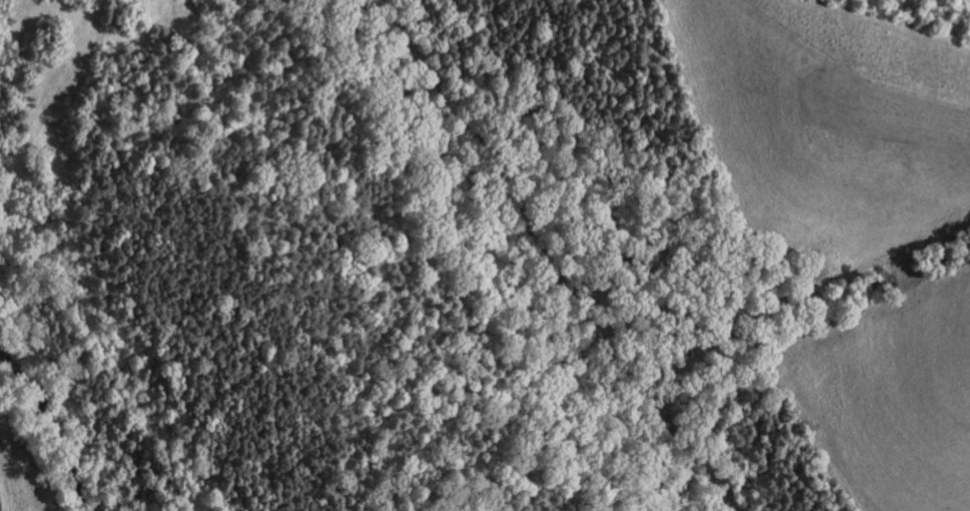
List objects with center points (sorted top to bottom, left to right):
road: (848, 70)

